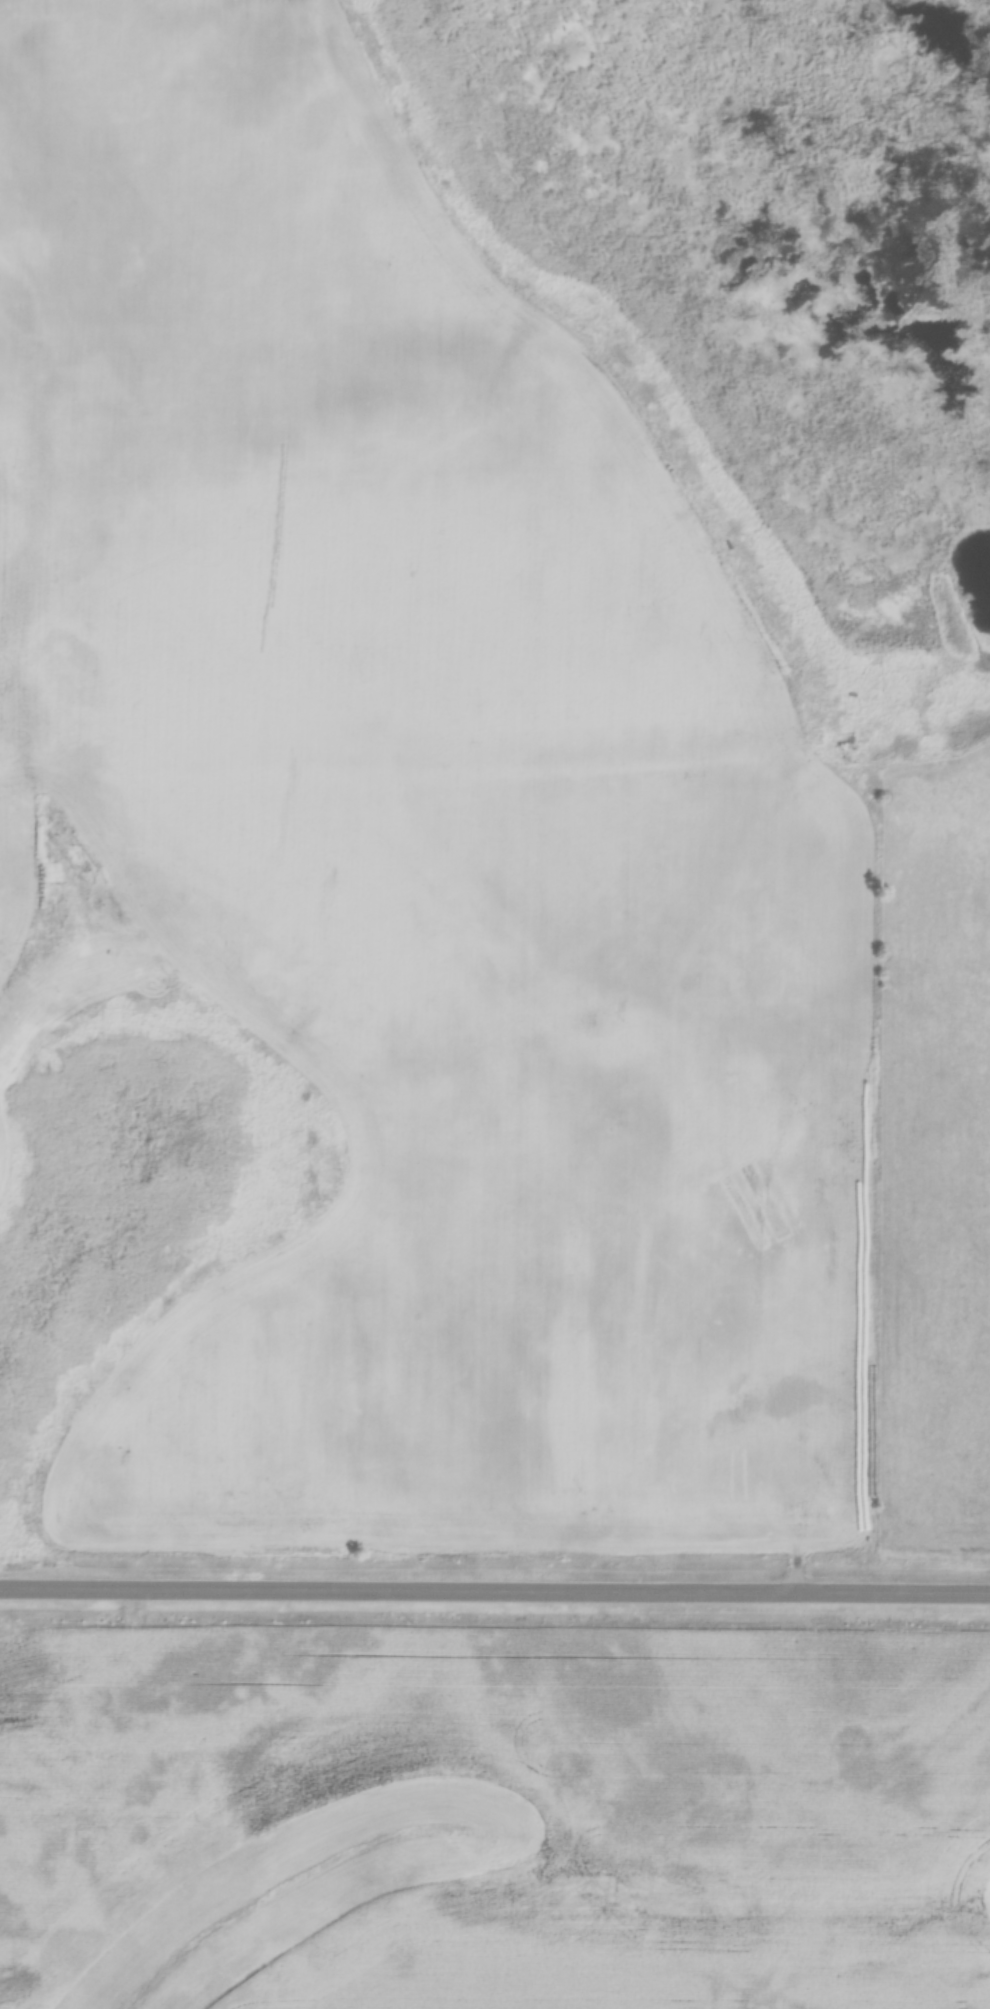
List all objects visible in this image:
road: (495, 1589)

